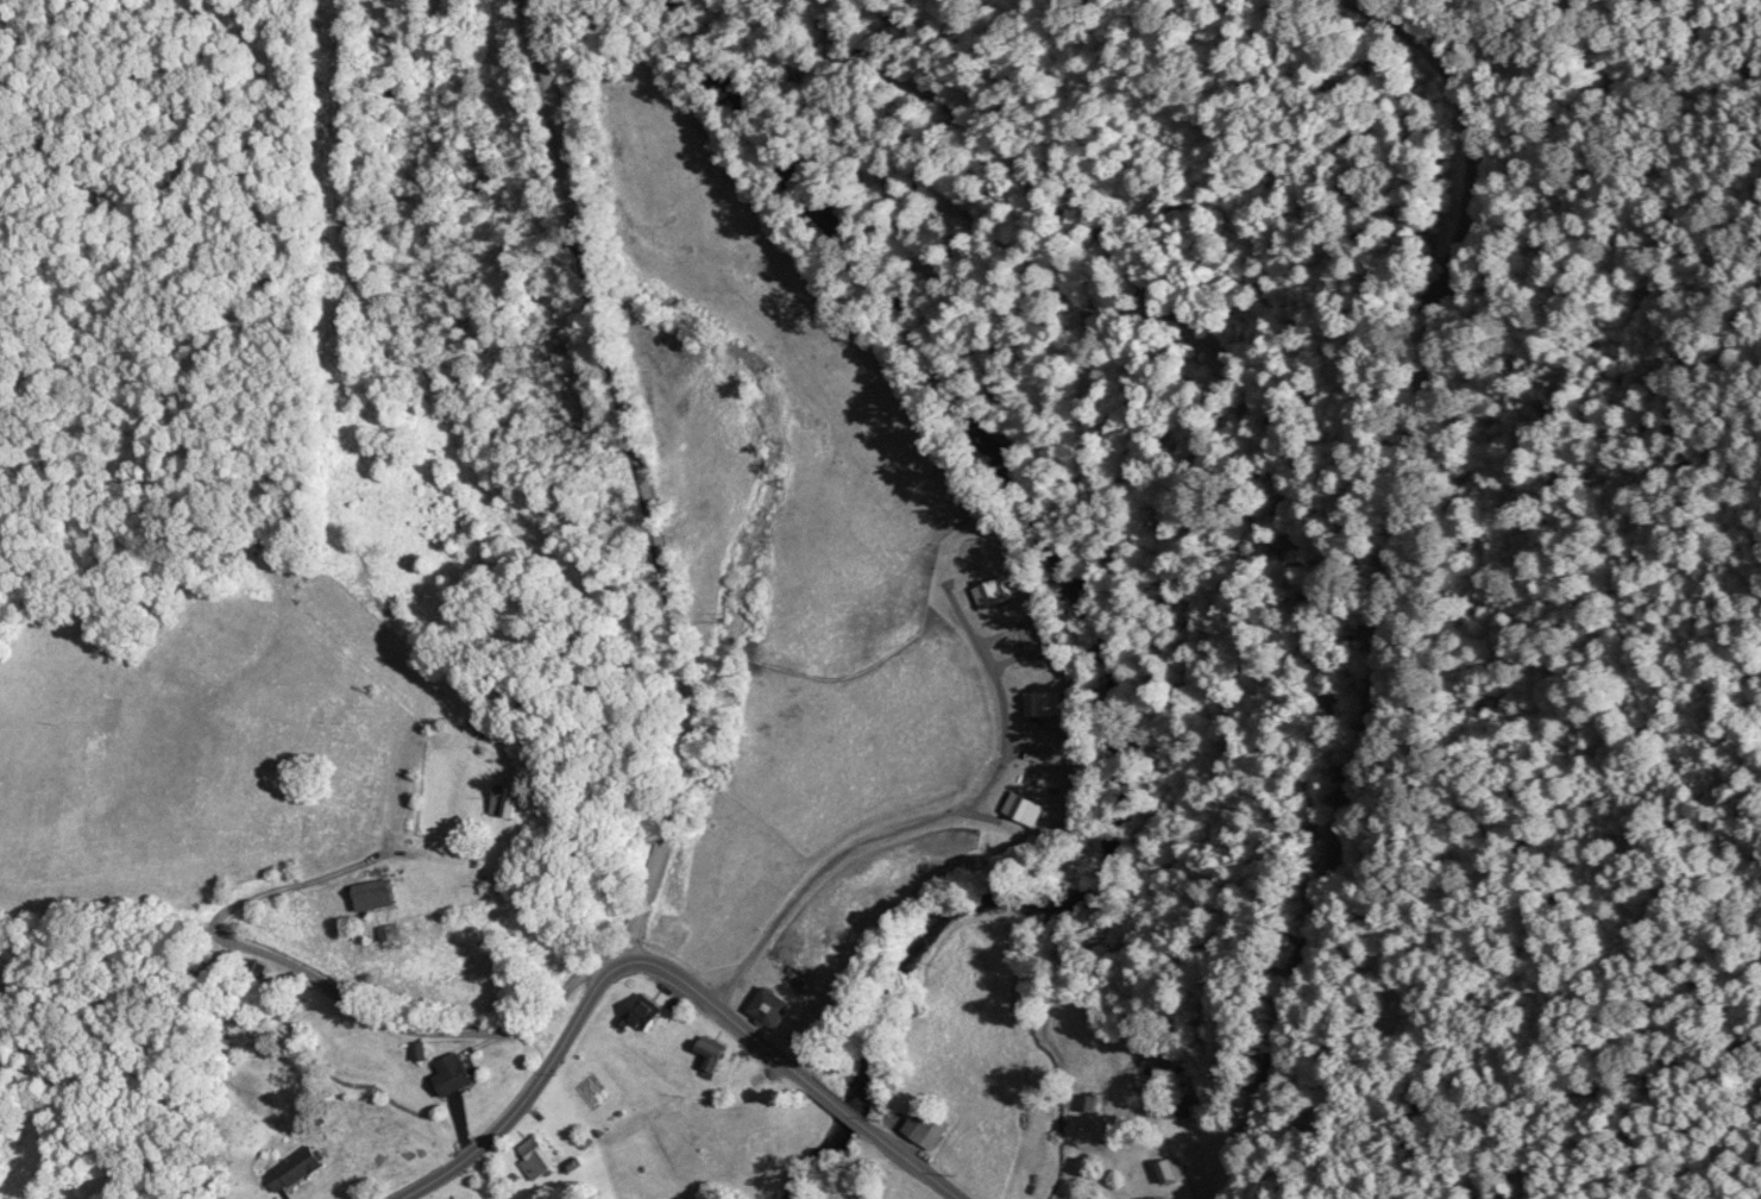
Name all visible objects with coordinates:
road: (644, 488)
road: (1392, 579)
building: (383, 891)
road: (132, 944)
road: (716, 1000)
road: (433, 1028)
building: (458, 1071)
road: (841, 1101)
road: (518, 1105)
building: (537, 1155)
road: (913, 1161)
building: (304, 1163)
building: (1169, 1169)

